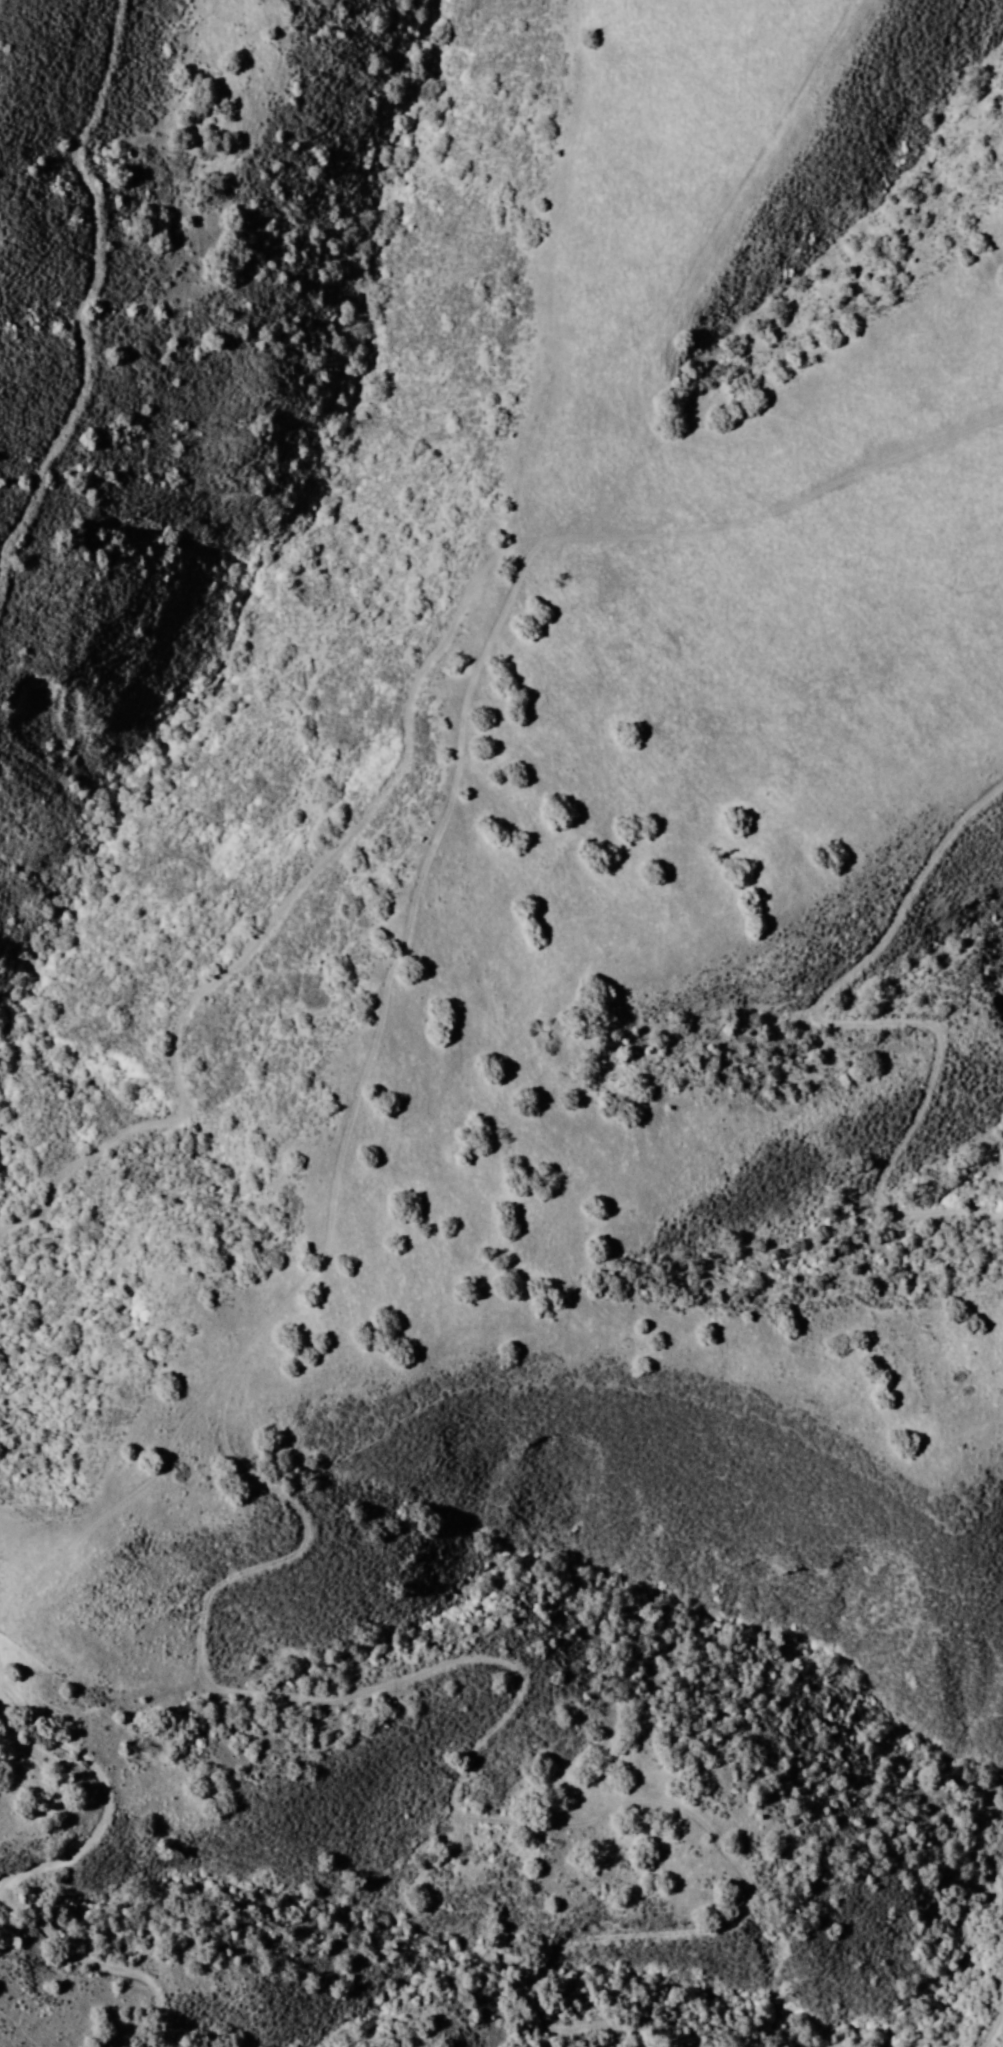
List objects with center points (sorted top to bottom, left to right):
road: (388, 734)
road: (946, 1023)
road: (338, 1587)
road: (32, 1891)

